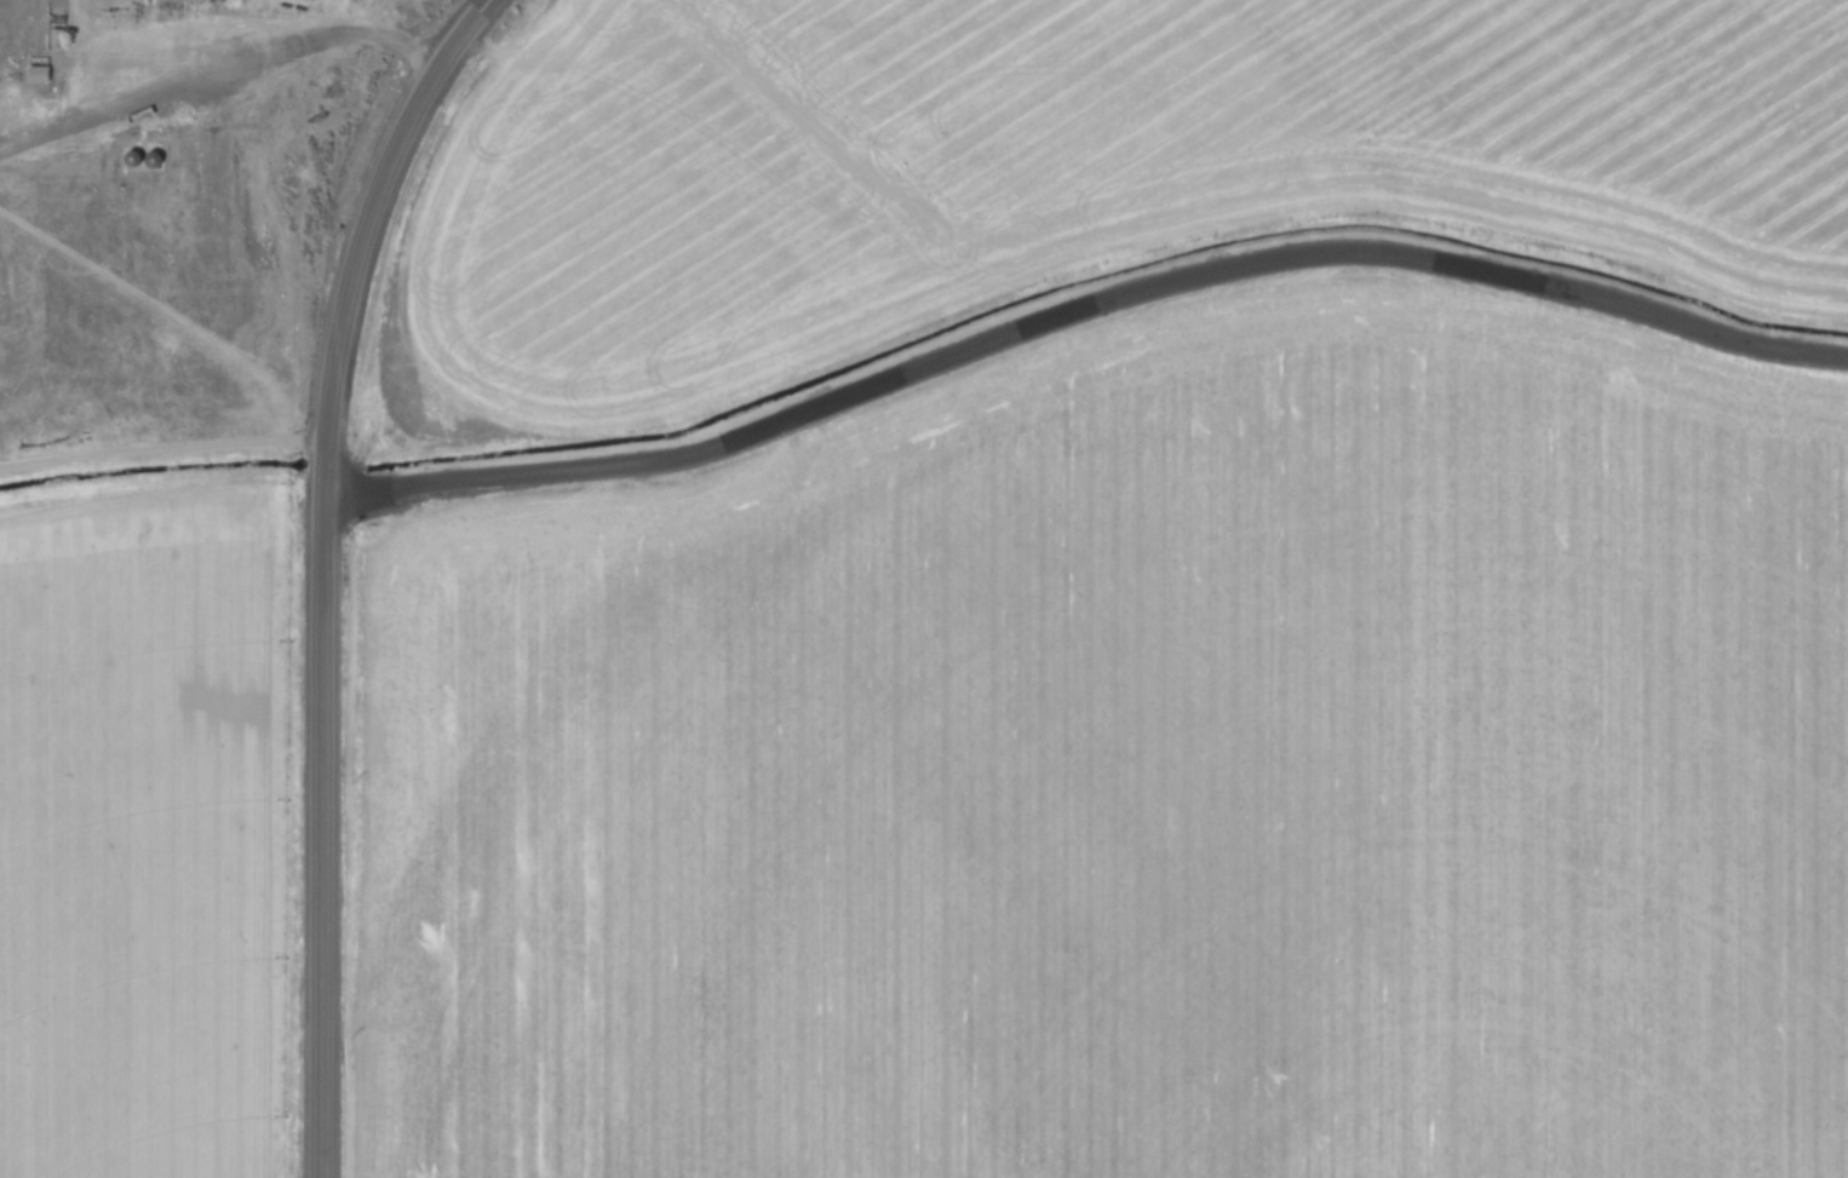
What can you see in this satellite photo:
building: (40, 73)
building: (133, 157)
silo: (133, 157)
building: (154, 159)
silo: (154, 159)
crop: (1049, 168)
building: (216, 246)
road: (1081, 306)
crop: (159, 559)
road: (325, 570)
crop: (1137, 775)

